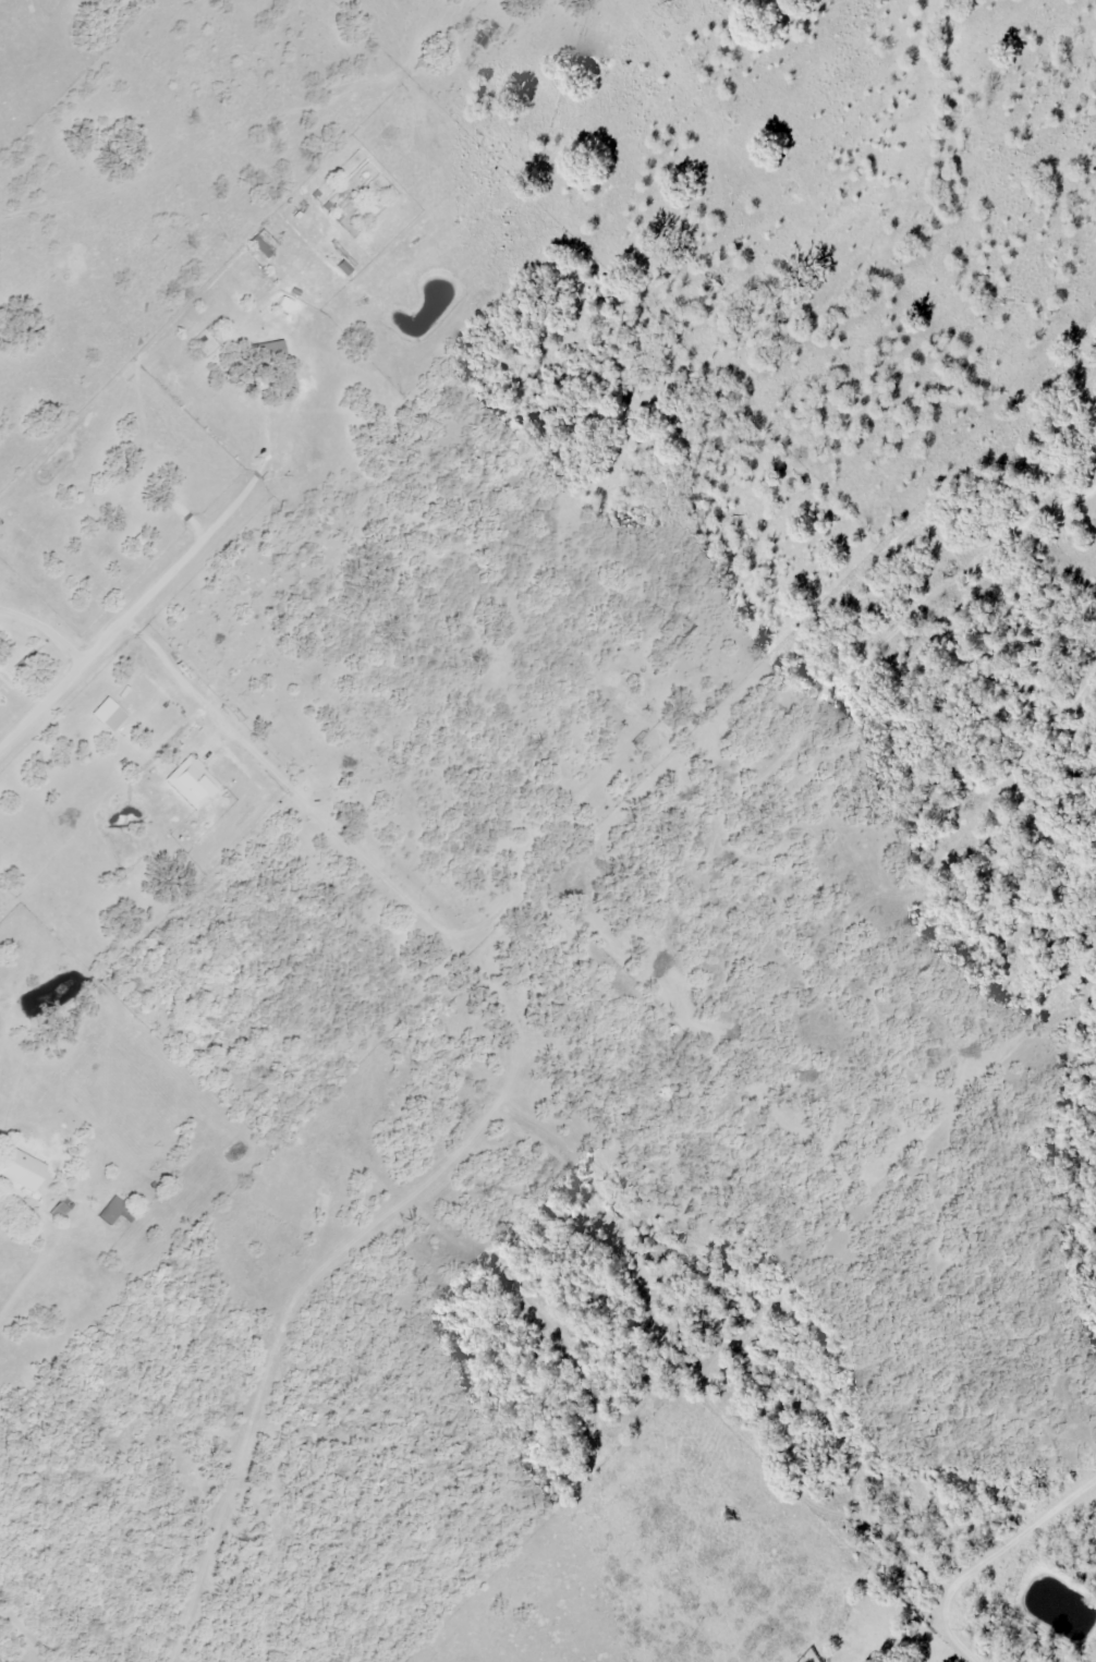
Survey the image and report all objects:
building: (488, 34)
building: (261, 242)
building: (267, 350)
building: (686, 711)
building: (193, 783)
road: (339, 834)
building: (21, 1169)
building: (61, 1209)
building: (118, 1212)
road: (325, 1264)
road: (989, 1556)
road: (940, 1646)

